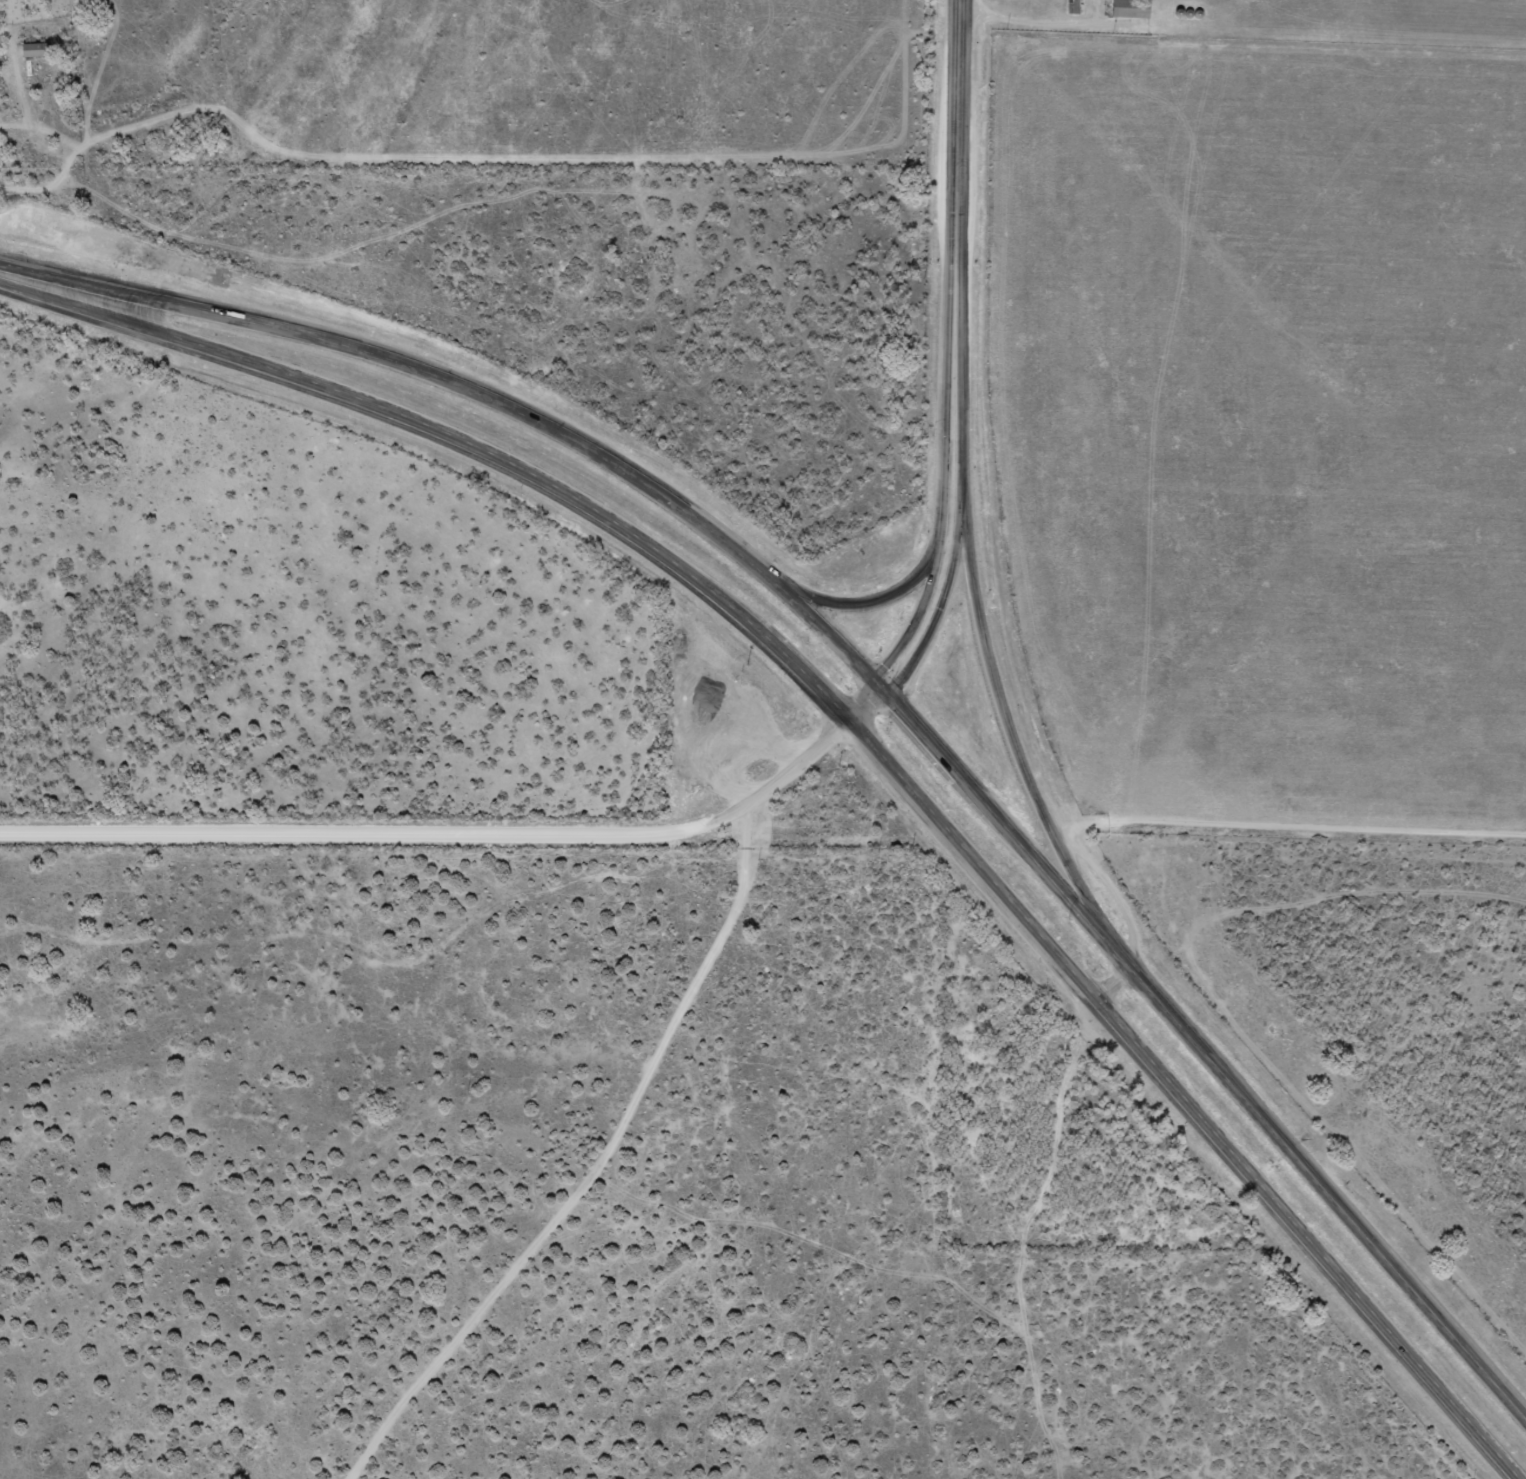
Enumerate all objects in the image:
building: (1121, 9)
building: (27, 50)
road: (956, 253)
road: (138, 297)
road: (98, 315)
road: (603, 466)
road: (892, 592)
road: (932, 602)
road: (863, 703)
road: (1001, 714)
road: (929, 815)
road: (1286, 826)
road: (441, 836)
road: (1113, 892)
road: (1112, 984)
road: (1204, 1052)
road: (589, 1165)

